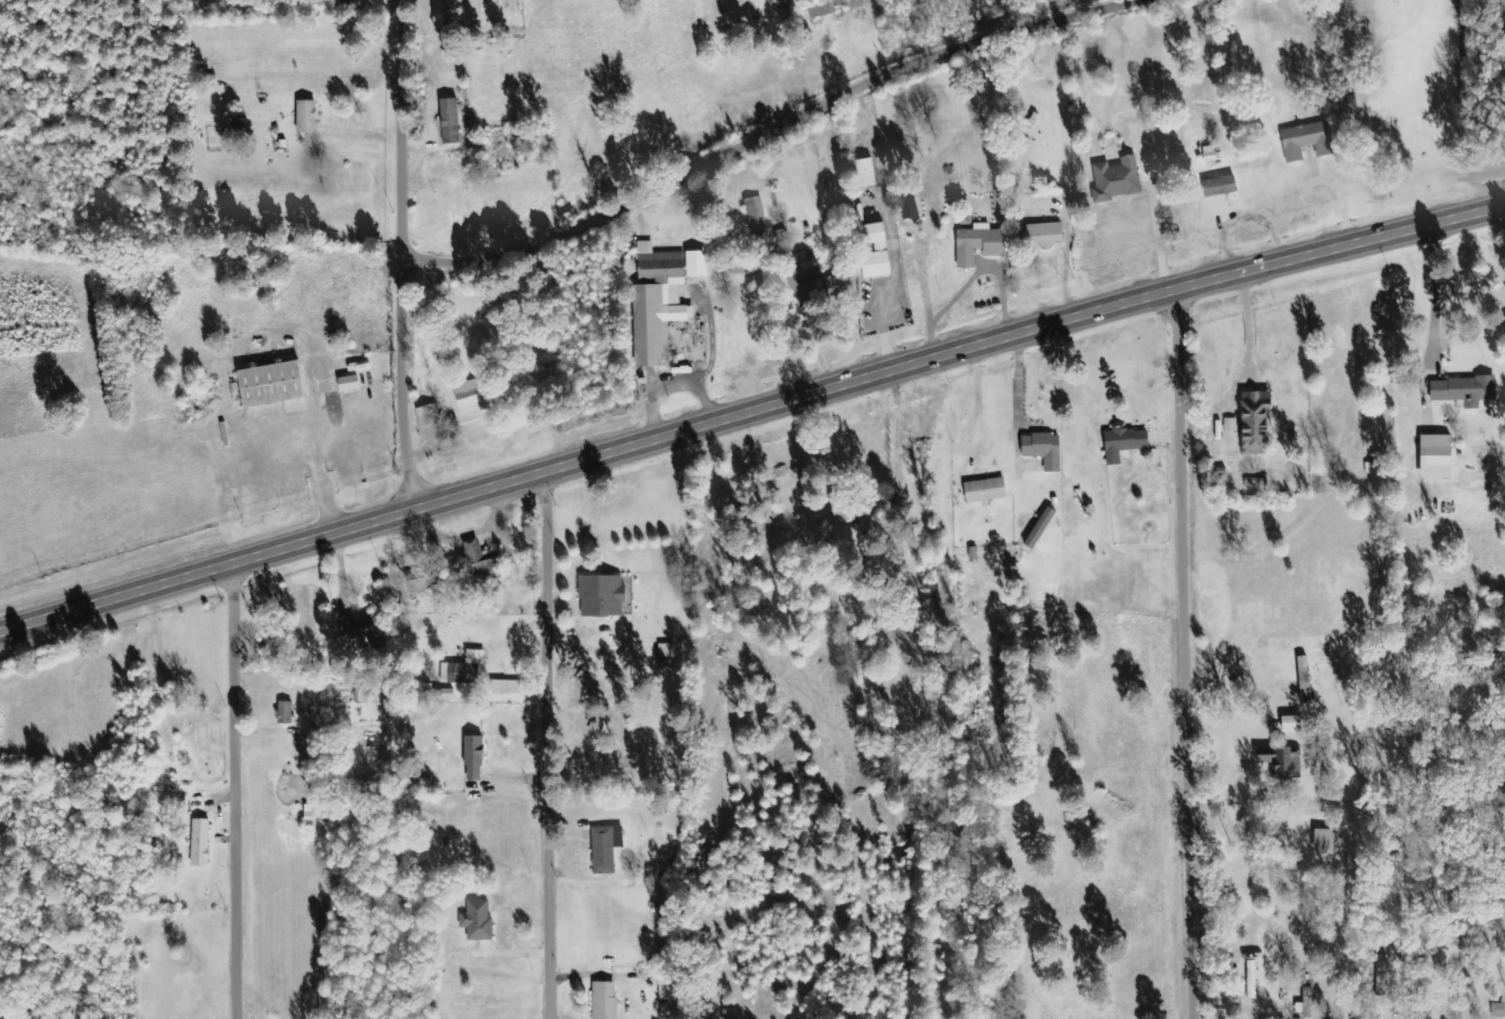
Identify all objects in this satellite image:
building: (823, 8)
building: (443, 13)
building: (306, 118)
building: (450, 122)
road: (402, 130)
road: (774, 133)
building: (1306, 141)
building: (865, 173)
building: (1116, 179)
building: (1220, 186)
building: (908, 206)
building: (754, 212)
building: (1043, 235)
building: (978, 244)
building: (881, 248)
building: (696, 264)
building: (744, 270)
building: (808, 281)
building: (658, 304)
building: (349, 384)
road: (404, 384)
building: (1463, 391)
building: (471, 397)
road: (750, 409)
building: (429, 415)
building: (1255, 421)
building: (1230, 425)
building: (1124, 443)
building: (1043, 450)
building: (1436, 457)
building: (985, 490)
building: (1040, 528)
building: (483, 560)
building: (420, 582)
building: (602, 596)
road: (1184, 652)
building: (666, 655)
building: (464, 669)
building: (507, 687)
building: (436, 694)
building: (285, 713)
building: (1291, 724)
road: (547, 744)
building: (473, 758)
building: (1280, 761)
road: (234, 790)
building: (1324, 842)
building: (200, 843)
building: (605, 849)
building: (477, 920)
building: (1252, 980)
building: (605, 1000)
building: (1498, 1011)

